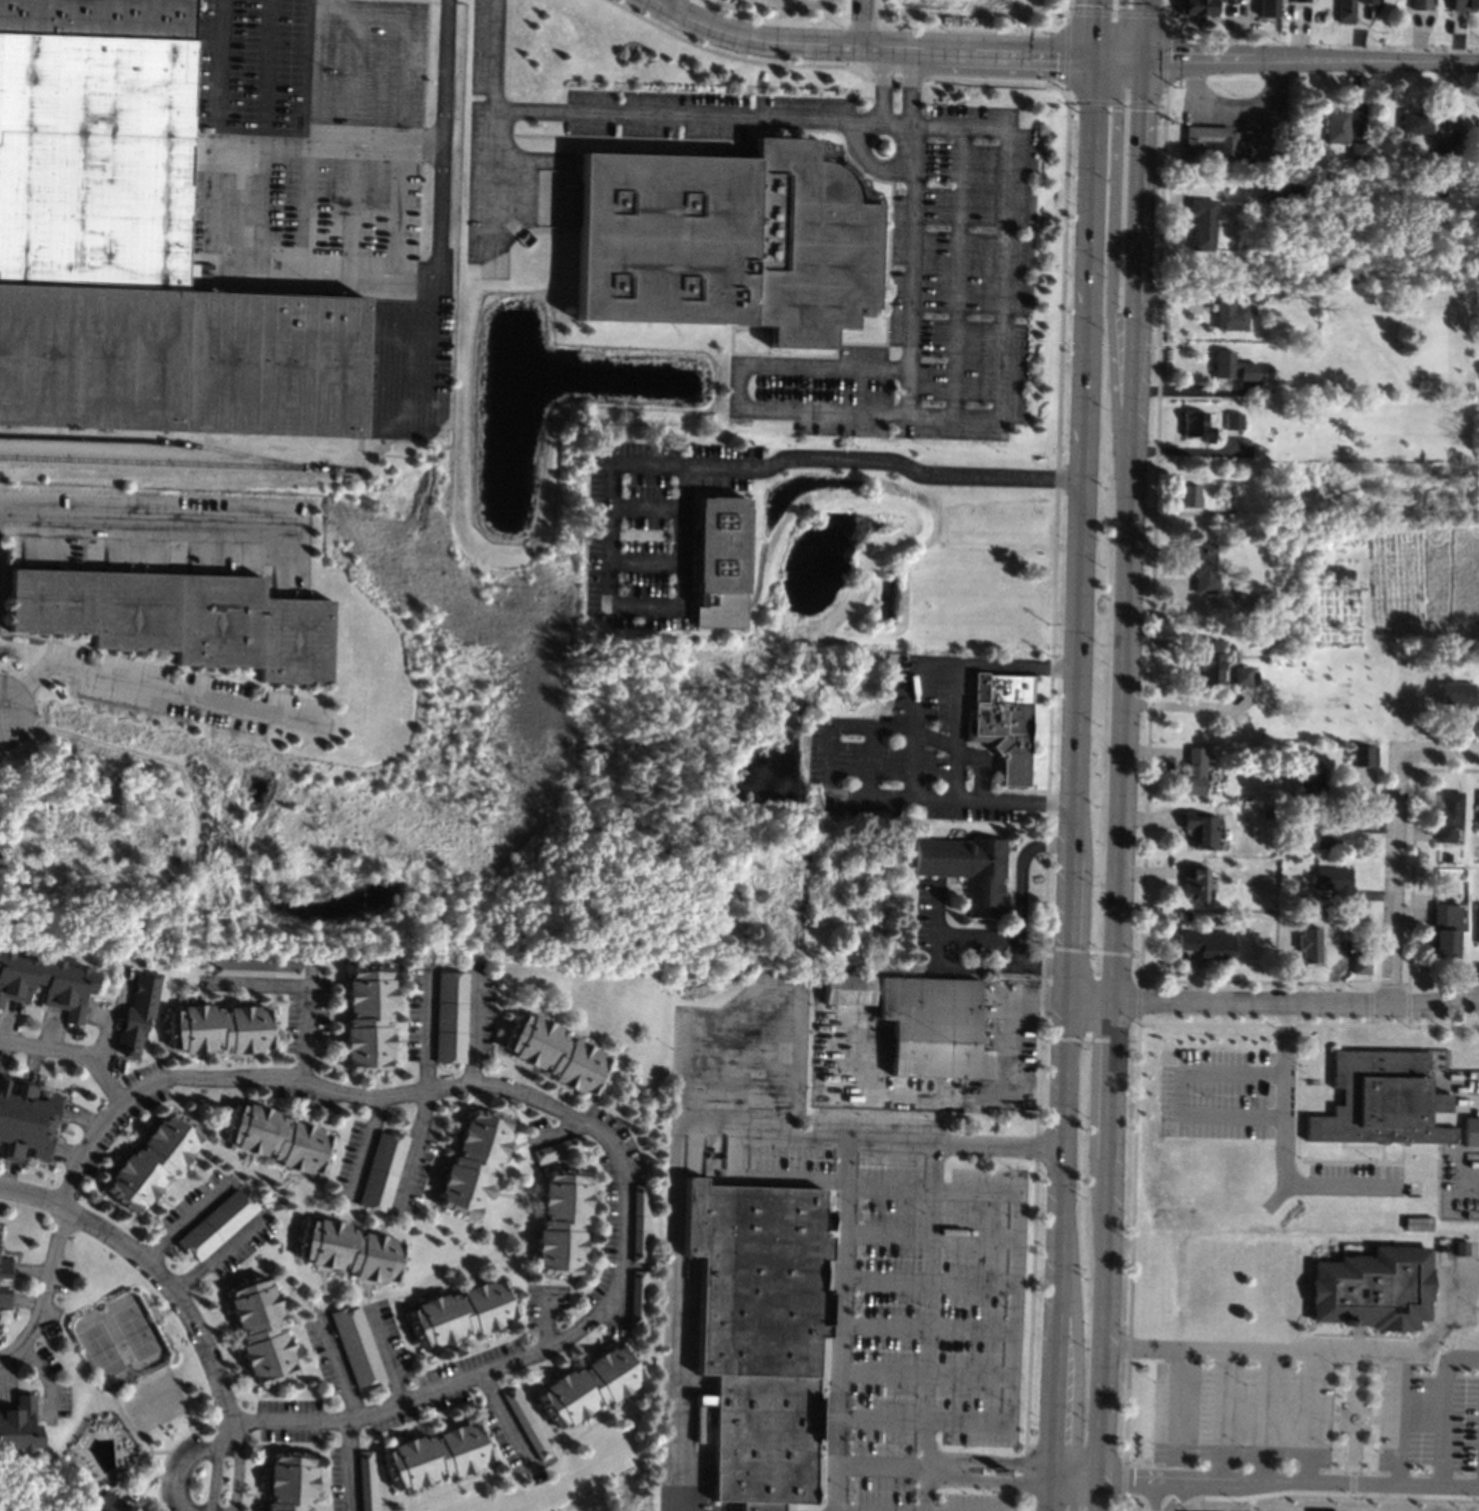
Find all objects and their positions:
building: (1301, 0)
road: (658, 1)
building: (1230, 1)
building: (1368, 1)
traffic signals: (1097, 4)
building: (1422, 4)
building: (1465, 5)
traffic signals: (1121, 6)
building: (1197, 7)
road: (1067, 8)
building: (1269, 8)
building: (1346, 11)
road: (1068, 12)
road: (1115, 13)
road: (1165, 18)
road: (862, 22)
road: (1096, 27)
road: (1144, 28)
road: (1126, 30)
road: (869, 45)
road: (1066, 52)
traffic signals: (1057, 53)
road: (1119, 55)
road: (735, 56)
traffic signals: (1169, 56)
road: (1164, 58)
road: (1311, 58)
road: (217, 70)
road: (442, 75)
road: (898, 78)
road: (997, 83)
road: (883, 85)
road: (914, 86)
road: (1164, 100)
road: (1104, 102)
road: (1235, 105)
traffic signals: (1117, 109)
traffic signals: (1142, 111)
parking lot: (698, 113)
road: (696, 118)
parking lot: (1231, 122)
building: (1416, 122)
building: (1337, 127)
parking lot: (488, 139)
building: (1211, 140)
road: (326, 145)
building: (1442, 149)
building: (1359, 152)
road: (870, 164)
building: (1446, 165)
road: (495, 183)
building: (1283, 192)
building: (1203, 223)
building: (726, 241)
building: (137, 248)
road: (1089, 256)
road: (959, 269)
road: (1110, 286)
building: (1276, 292)
building: (1256, 298)
parking lot: (929, 302)
building: (1228, 313)
road: (1002, 315)
building: (1232, 366)
building: (1268, 367)
road: (1187, 391)
road: (861, 408)
building: (1233, 421)
building: (1197, 426)
railway: (162, 441)
road: (338, 445)
road: (1185, 451)
railway: (178, 463)
road: (913, 471)
building: (1225, 494)
building: (1189, 496)
road: (646, 506)
road: (123, 510)
road: (610, 526)
road: (1127, 526)
parking lot: (657, 530)
road: (680, 535)
building: (1264, 536)
building: (720, 544)
road: (645, 563)
road: (1081, 563)
building: (1203, 568)
building: (179, 619)
building: (1468, 642)
building: (1211, 661)
road: (977, 664)
road: (915, 673)
building: (1242, 676)
building: (1253, 677)
road: (149, 688)
building: (1456, 694)
road: (1181, 706)
road: (1, 709)
building: (1006, 724)
parking lot: (909, 751)
road: (1439, 752)
building: (1363, 755)
road: (971, 756)
road: (871, 761)
road: (913, 763)
road: (1076, 764)
building: (1194, 771)
building: (1309, 782)
road: (871, 795)
building: (1267, 813)
building: (1448, 816)
building: (1478, 818)
building: (1201, 828)
building: (1336, 835)
building: (1285, 847)
building: (1476, 851)
building: (1447, 857)
building: (1285, 864)
building: (968, 869)
road: (1022, 874)
road: (1395, 877)
building: (1195, 882)
building: (1334, 882)
road: (939, 909)
building: (1184, 915)
building: (1477, 924)
road: (1072, 928)
building: (1446, 931)
building: (1207, 944)
building: (1309, 944)
road: (942, 962)
building: (1361, 963)
building: (256, 968)
building: (46, 983)
road: (304, 990)
building: (982, 994)
road: (1274, 1000)
road: (711, 1012)
building: (138, 1014)
building: (452, 1017)
building: (369, 1018)
building: (923, 1022)
road: (1308, 1023)
building: (221, 1029)
road: (474, 1029)
road: (790, 1029)
road: (426, 1032)
road: (74, 1049)
building: (556, 1054)
road: (1180, 1092)
building: (1381, 1100)
road: (1468, 1104)
building: (25, 1121)
road: (591, 1122)
building: (1471, 1131)
road: (684, 1133)
building: (278, 1138)
road: (1280, 1144)
road: (365, 1147)
road: (413, 1149)
building: (557, 1150)
road: (651, 1151)
road: (1065, 1156)
building: (152, 1162)
building: (474, 1163)
building: (383, 1171)
road: (769, 1175)
parking lot: (1390, 1190)
road: (184, 1220)
building: (563, 1222)
building: (641, 1223)
building: (217, 1225)
road: (928, 1236)
parking lot: (875, 1242)
building: (1462, 1249)
building: (351, 1250)
road: (219, 1252)
road: (1108, 1254)
road: (1129, 1254)
building: (5, 1268)
road: (926, 1281)
building: (1372, 1289)
road: (46, 1291)
building: (639, 1297)
building: (4, 1298)
road: (182, 1302)
road: (1013, 1308)
road: (1444, 1309)
building: (462, 1313)
road: (547, 1322)
road: (838, 1325)
road: (926, 1325)
road: (928, 1326)
building: (261, 1330)
building: (760, 1334)
park: (118, 1342)
building: (358, 1347)
road: (1320, 1347)
park: (1298, 1349)
road: (386, 1357)
road: (1355, 1367)
road: (339, 1369)
road: (924, 1374)
building: (590, 1385)
road: (1058, 1387)
road: (1443, 1404)
road: (1178, 1406)
road: (1308, 1413)
road: (1222, 1414)
parking lot: (1319, 1415)
road: (1265, 1416)
road: (1337, 1418)
road: (1371, 1419)
road: (506, 1420)
building: (528, 1424)
building: (19, 1426)
road: (1363, 1427)
building: (436, 1456)
road: (991, 1457)
road: (1352, 1459)
road: (1079, 1461)
road: (349, 1464)
road: (880, 1464)
road: (189, 1466)
road: (1055, 1471)
road: (1290, 1479)
building: (367, 1480)
road: (990, 1480)
building: (291, 1482)
road: (1078, 1484)
road: (1181, 1492)
road: (1324, 1492)
road: (1151, 1493)
road: (1054, 1497)
building: (111, 1503)
road: (1193, 1504)
road: (1249, 1504)
road: (848, 1510)
road: (1134, 1510)

